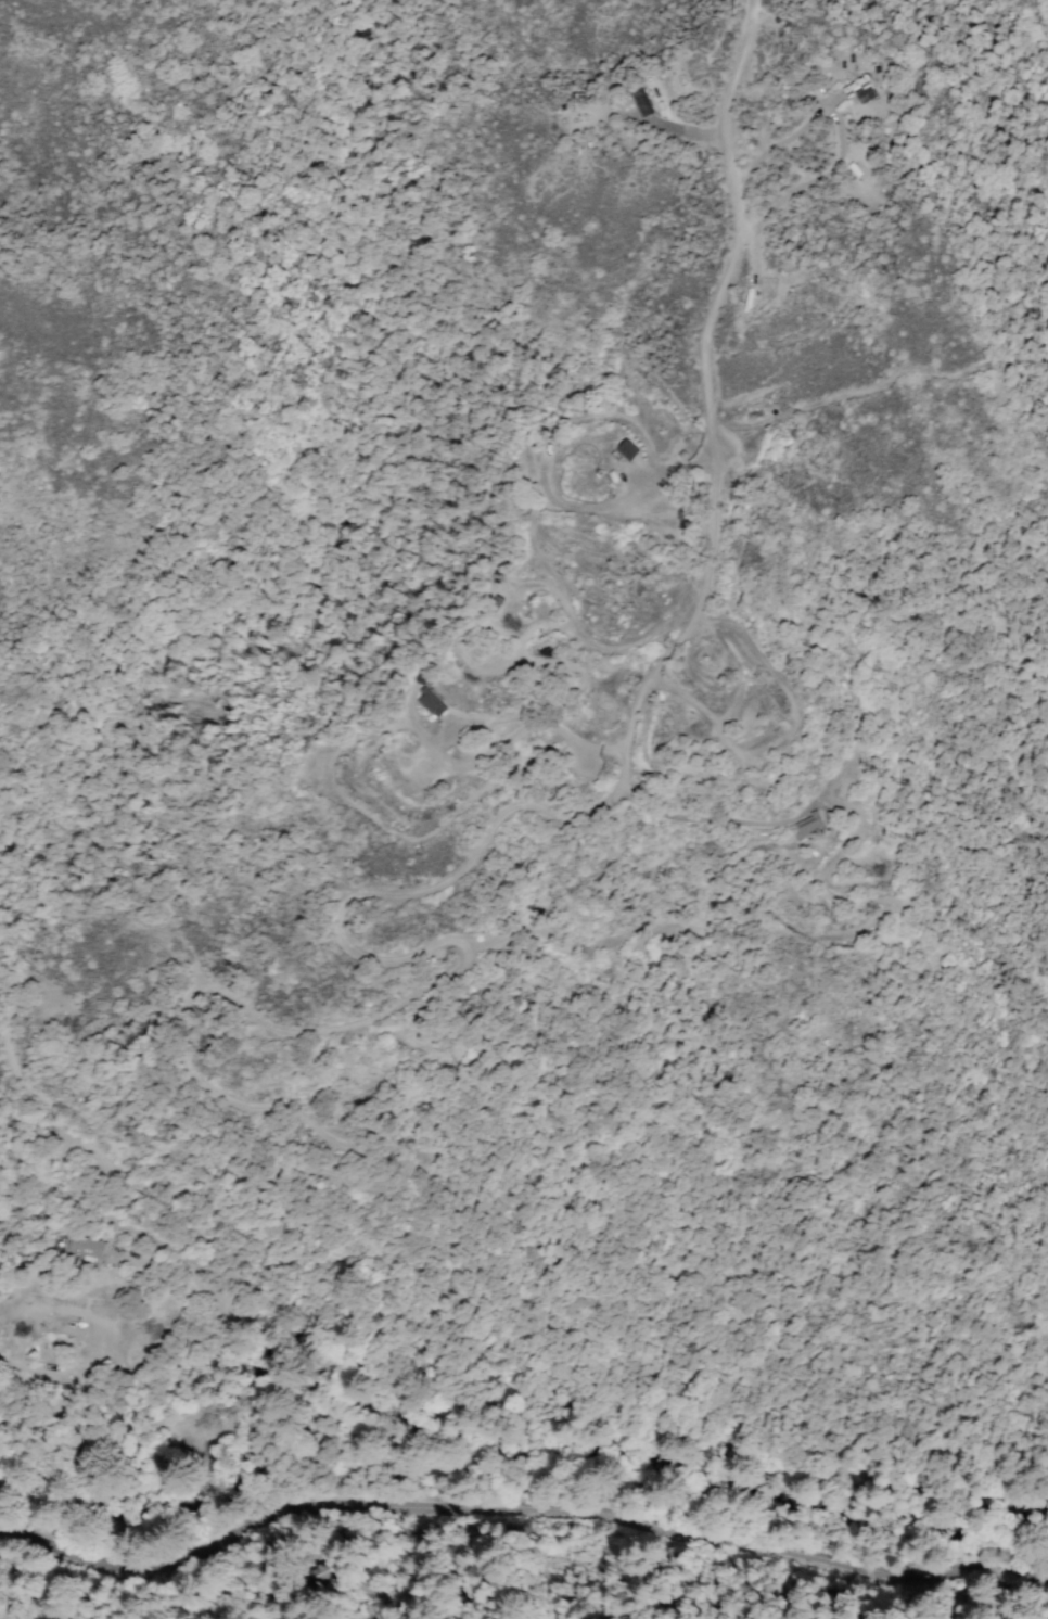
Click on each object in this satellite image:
building: (655, 90)
building: (864, 92)
building: (641, 101)
road: (717, 115)
road: (685, 129)
road: (836, 129)
road: (753, 267)
road: (785, 344)
road: (854, 391)
road: (590, 415)
building: (626, 448)
road: (627, 501)
building: (682, 512)
road: (536, 552)
road: (599, 647)
building: (421, 673)
road: (839, 673)
building: (431, 701)
road: (457, 719)
road: (714, 727)
road: (834, 772)
road: (370, 816)
road: (721, 820)
building: (808, 825)
road: (860, 827)
road: (549, 940)
water tower: (67, 1022)
road: (344, 1028)
water tower: (75, 1030)
road: (1, 1043)
building: (88, 1250)
road: (151, 1261)
road: (519, 1502)

